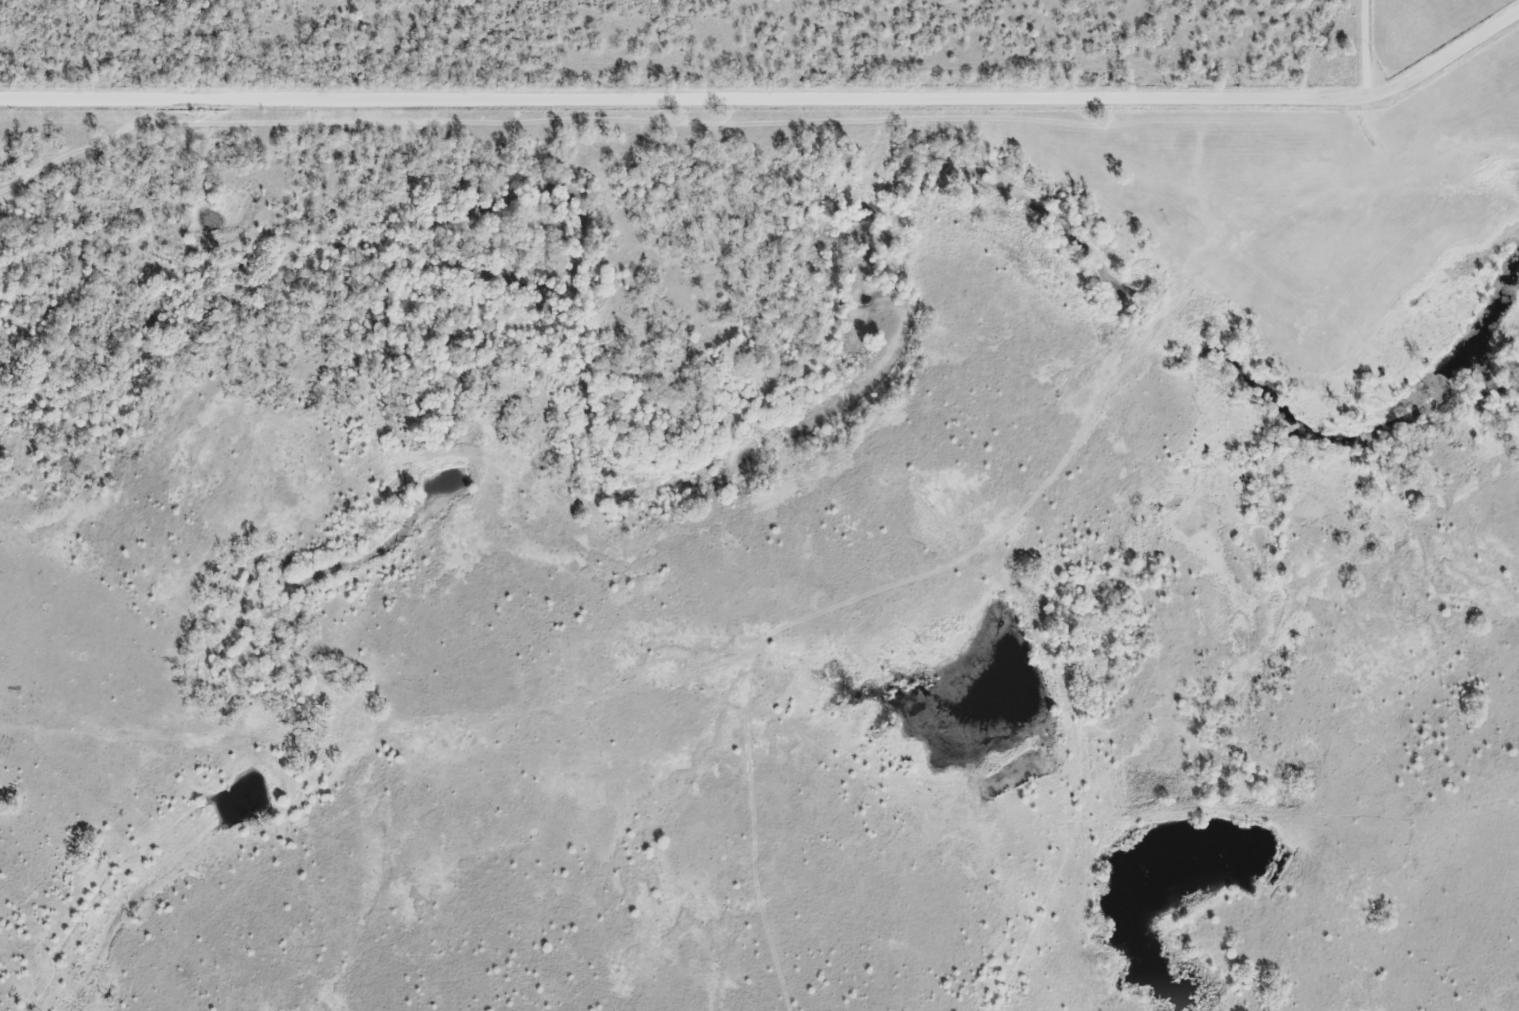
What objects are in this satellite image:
road: (1494, 31)
road: (1362, 50)
road: (740, 100)

